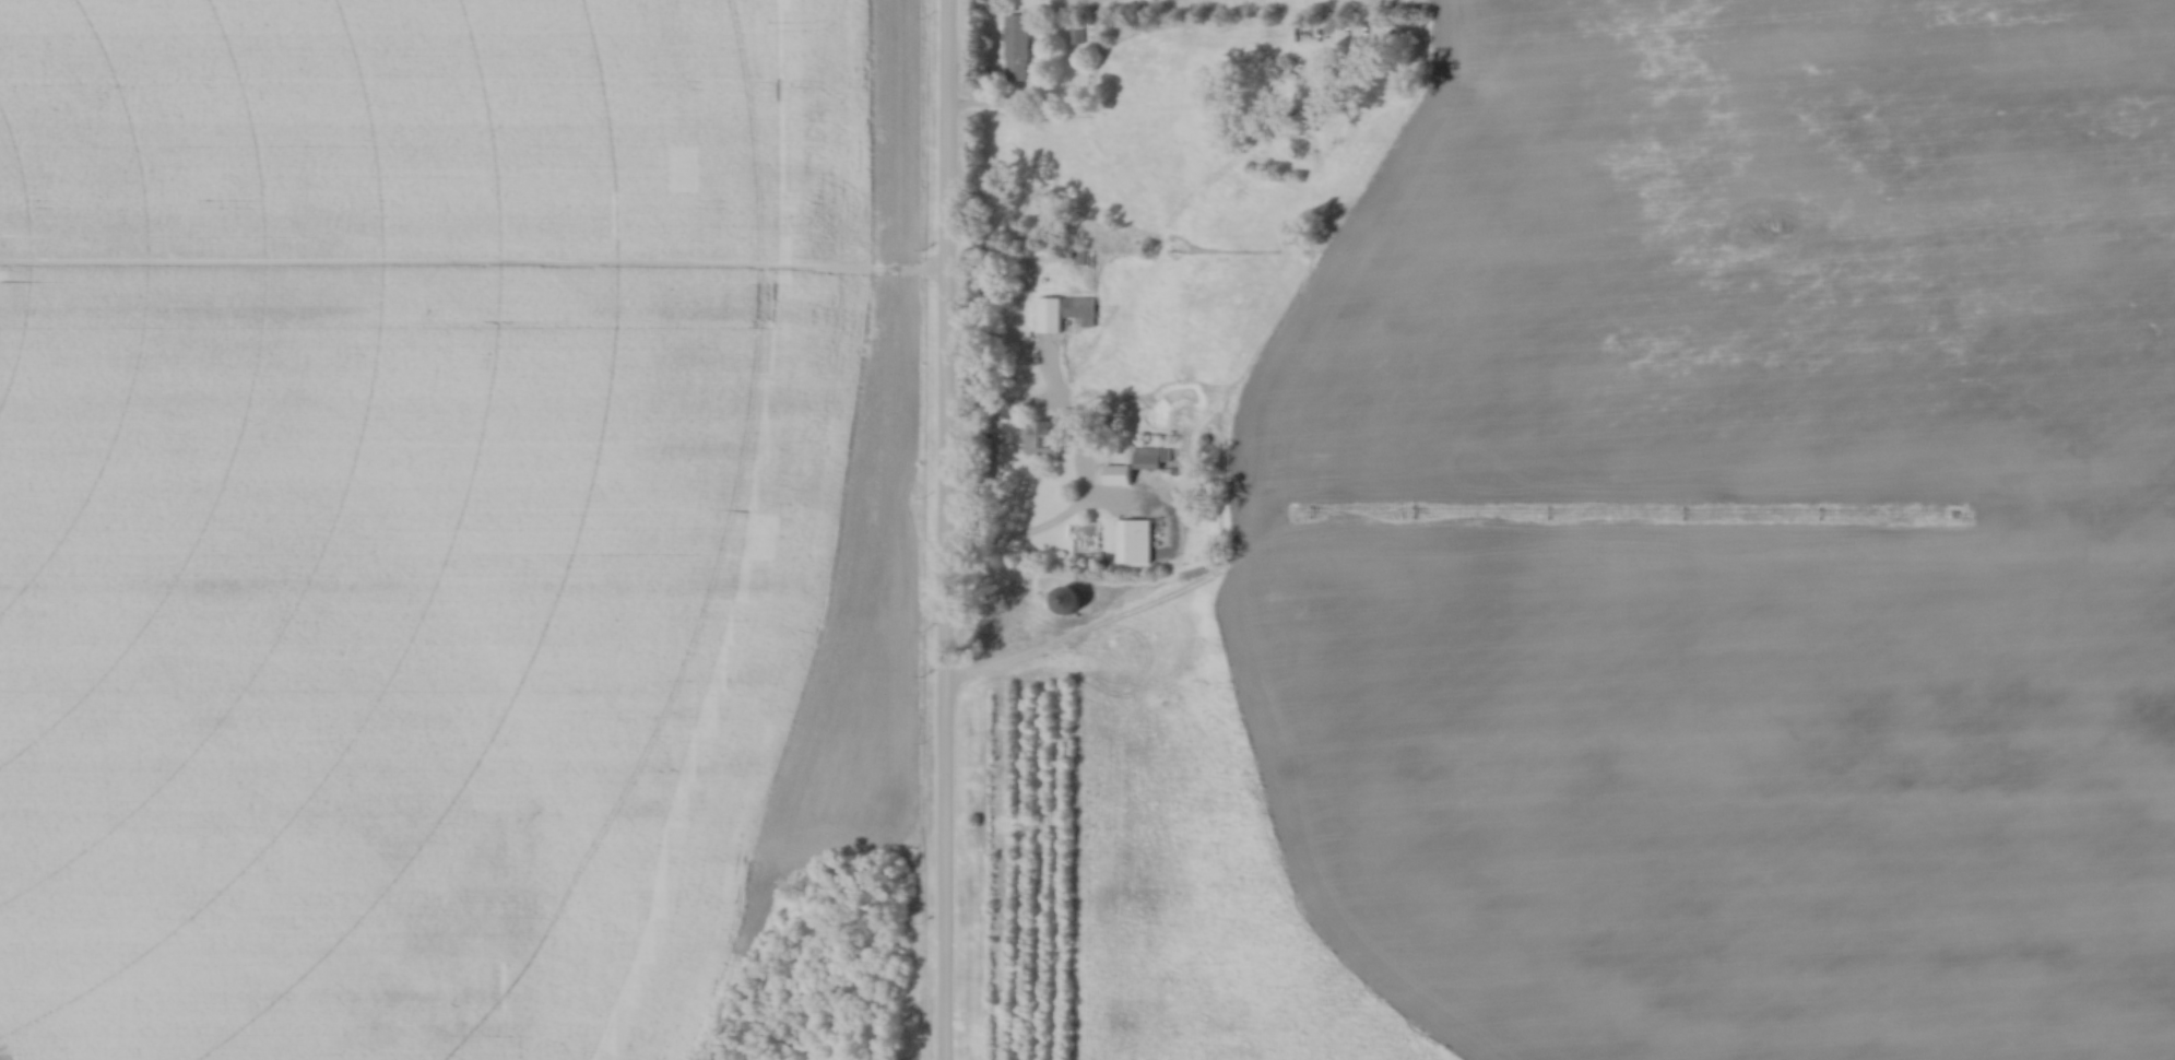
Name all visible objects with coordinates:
building: (1016, 49)
building: (1079, 310)
road: (1040, 411)
building: (1041, 440)
building: (1133, 469)
road: (948, 530)
building: (1133, 543)
building: (1067, 602)

